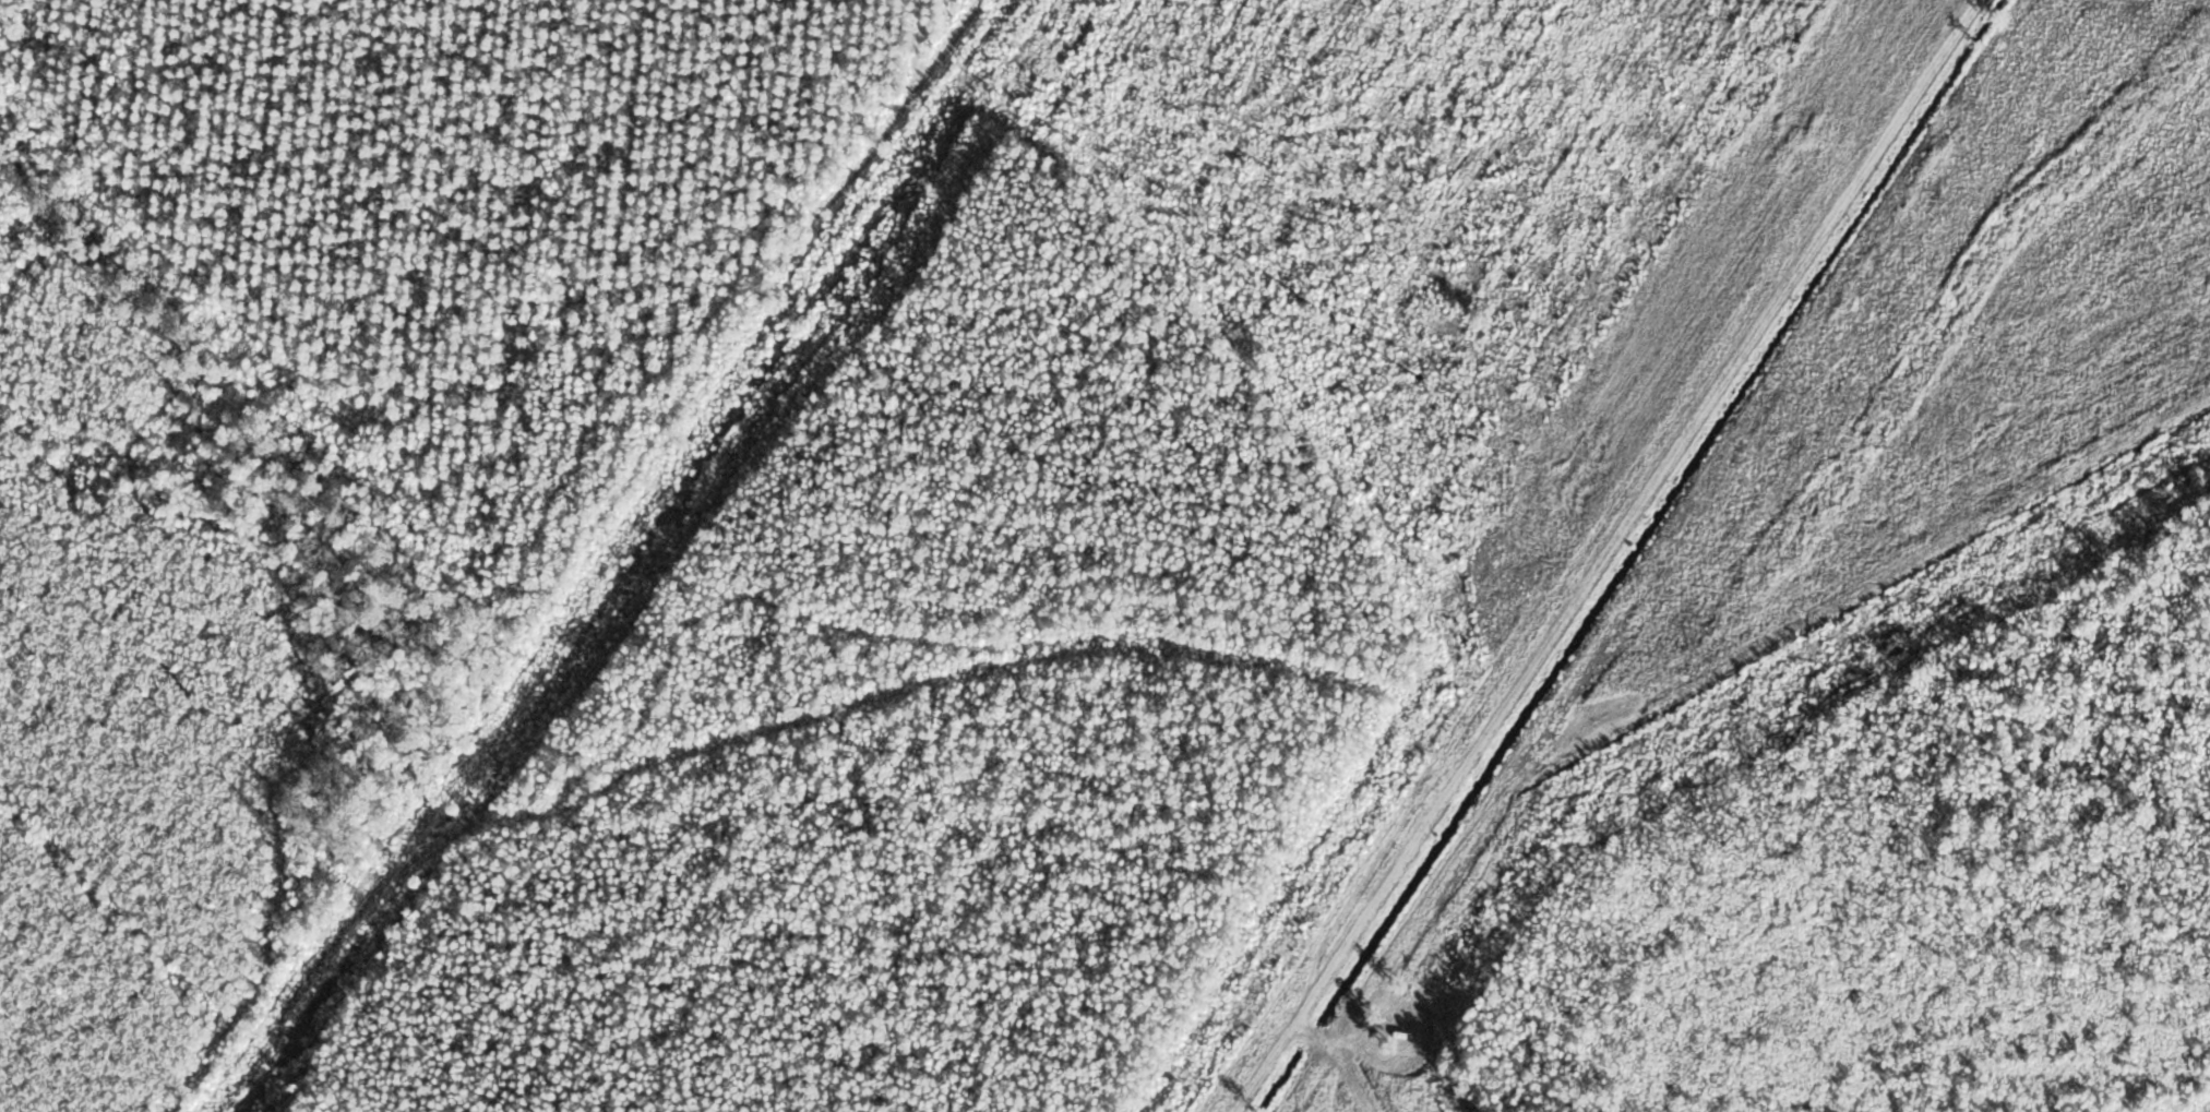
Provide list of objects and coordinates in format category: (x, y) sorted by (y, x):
road: (1628, 554)

